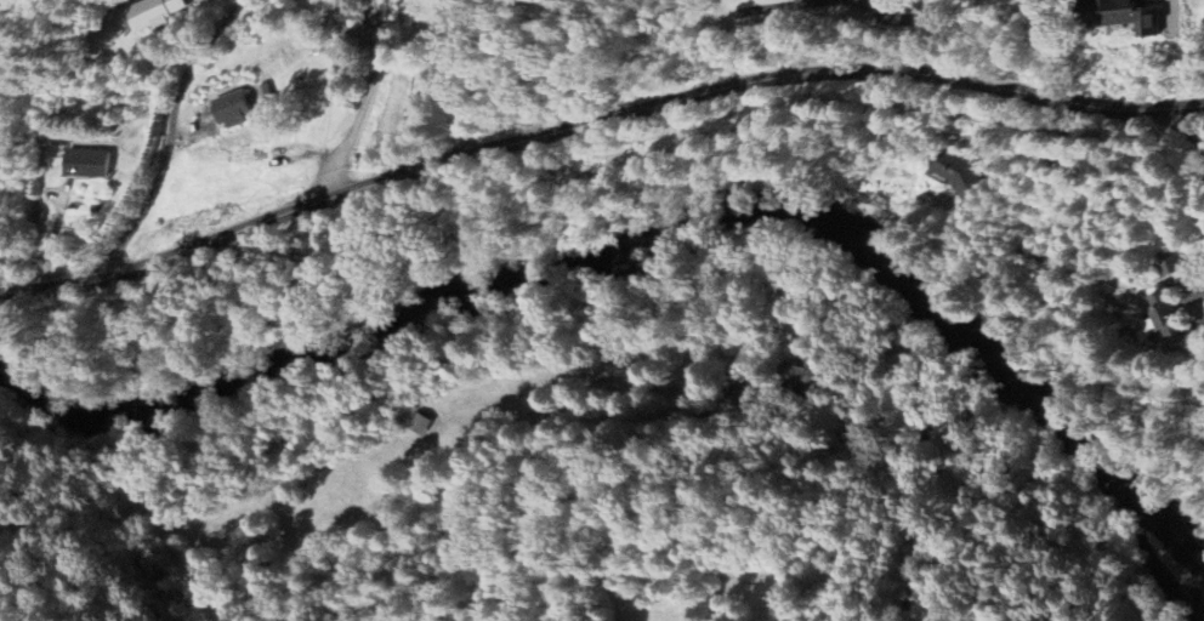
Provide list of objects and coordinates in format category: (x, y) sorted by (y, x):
road: (817, 1)
road: (794, 7)
building: (157, 12)
building: (1134, 15)
road: (908, 32)
road: (459, 76)
road: (360, 103)
building: (237, 110)
road: (594, 121)
road: (1189, 130)
road: (164, 136)
road: (1030, 152)
building: (90, 164)
building: (962, 172)
river: (647, 235)
road: (1197, 302)
building: (1171, 315)
building: (802, 371)
building: (422, 423)

